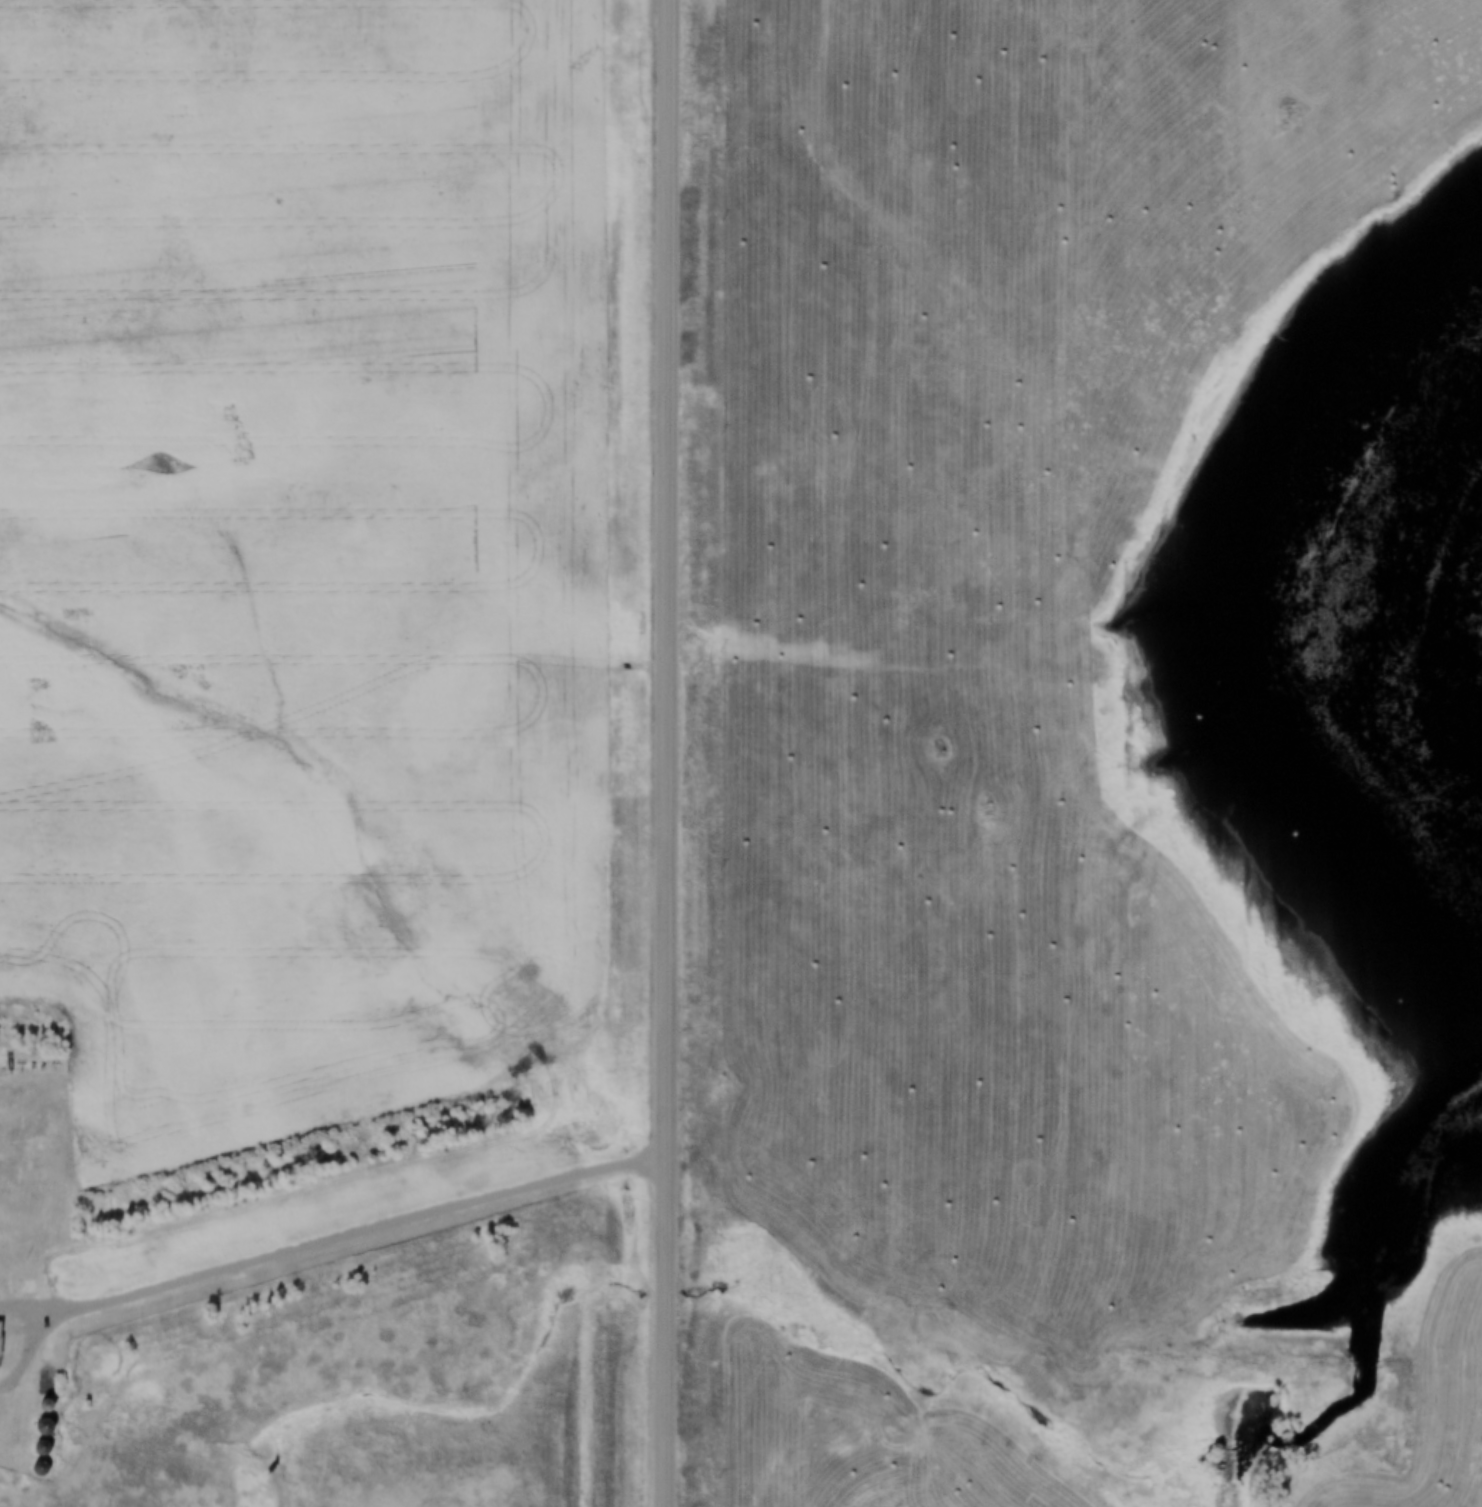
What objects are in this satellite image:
road: (671, 753)
road: (356, 1233)
road: (23, 1311)
road: (28, 1361)
building: (43, 1381)

